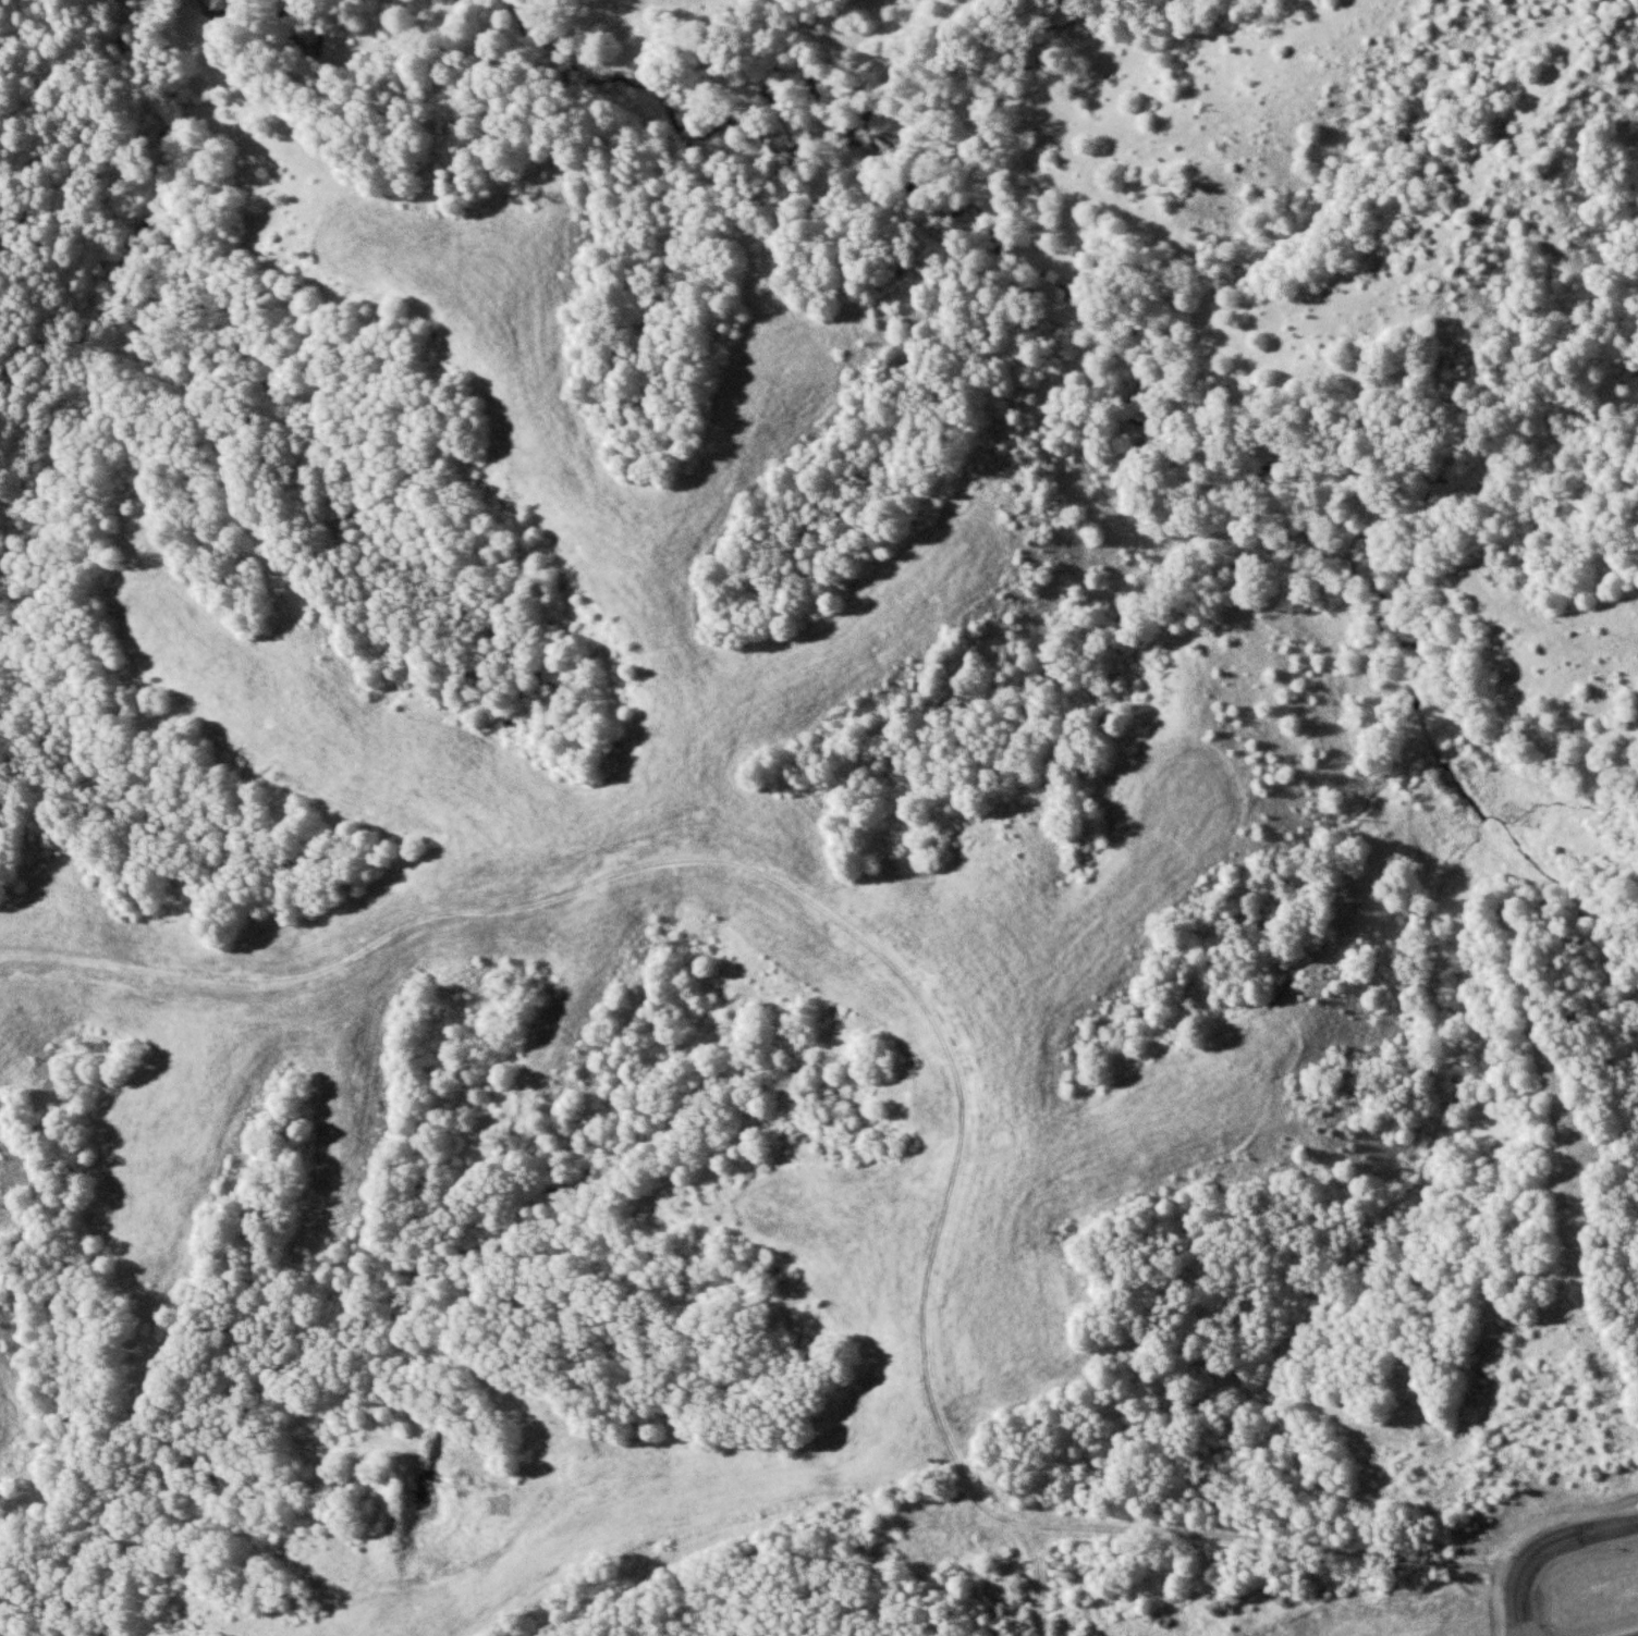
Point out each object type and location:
road: (1543, 1545)

